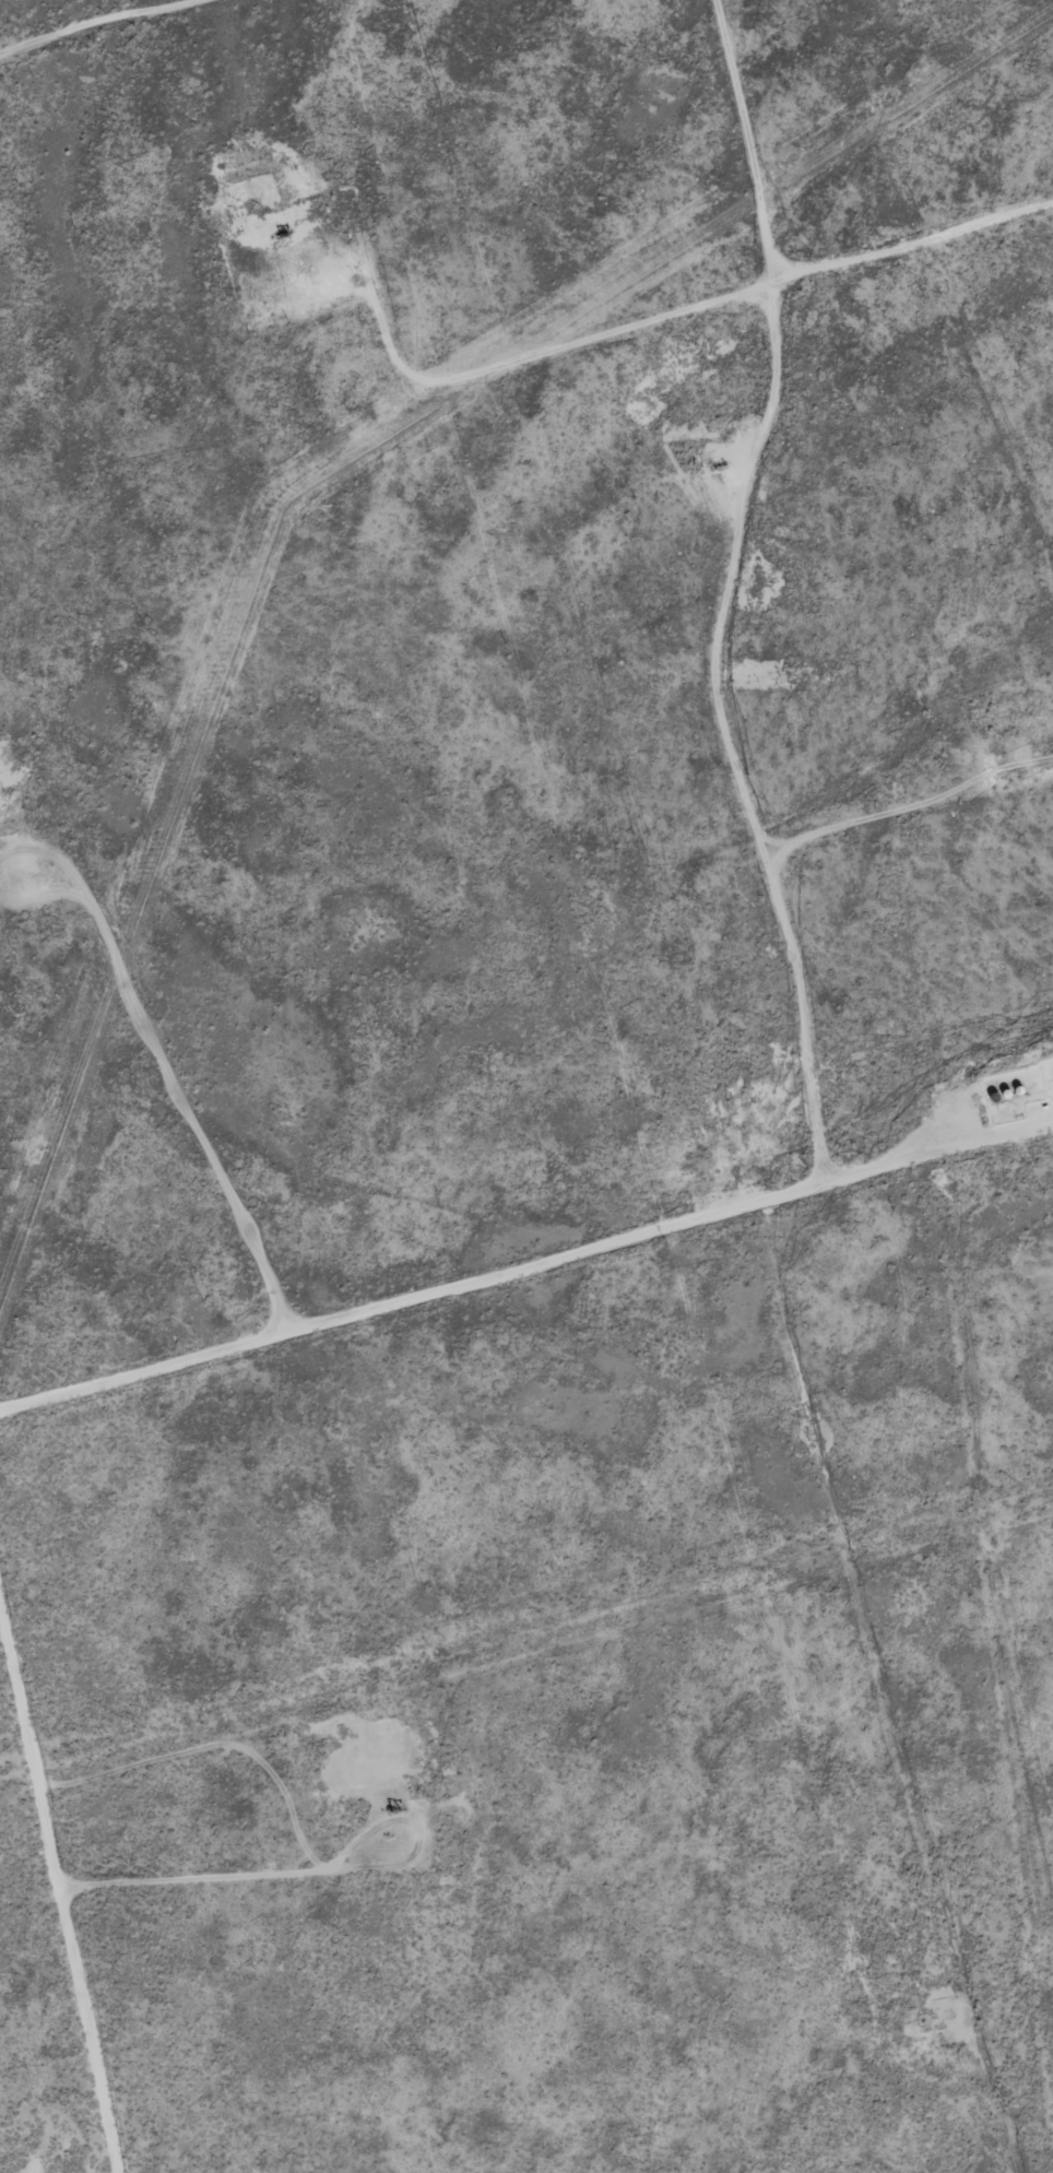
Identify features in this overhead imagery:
road: (844, 320)
road: (526, 1343)
road: (56, 1970)
road: (968, 2139)

